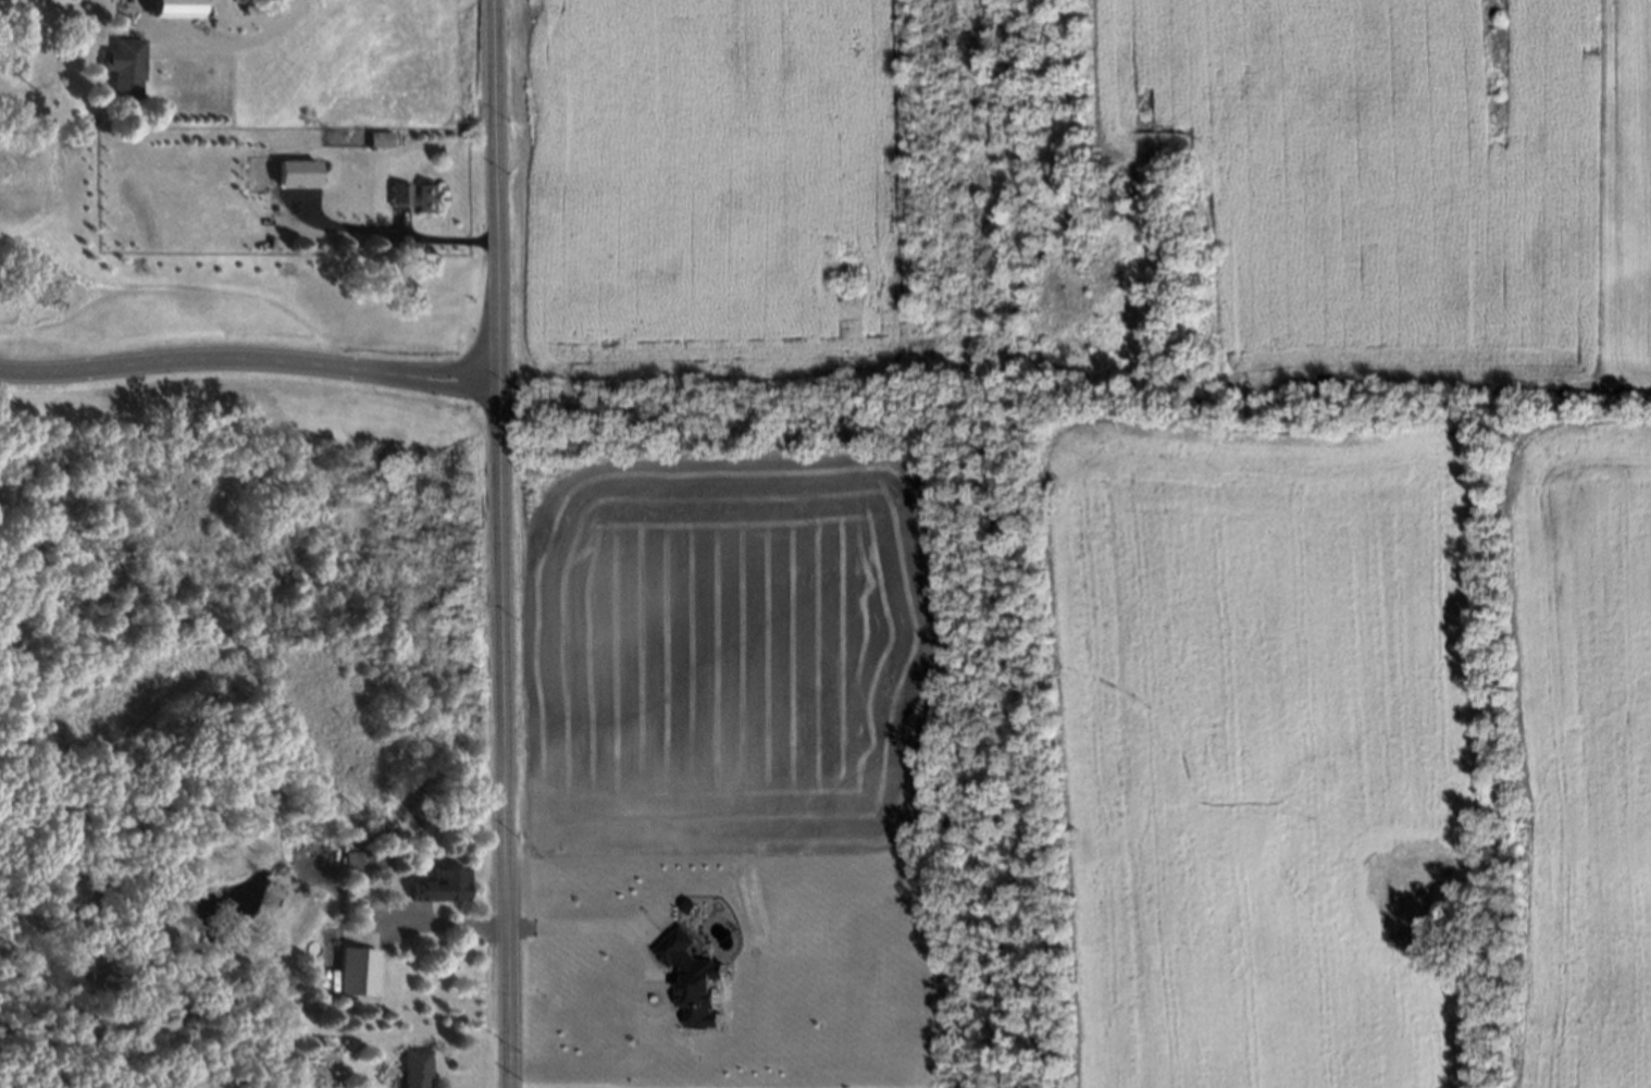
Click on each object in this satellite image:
building: (171, 7)
road: (234, 45)
building: (120, 65)
building: (374, 139)
building: (297, 168)
building: (417, 196)
road: (397, 230)
road: (248, 359)
park: (240, 521)
road: (499, 543)
road: (38, 598)
building: (364, 861)
building: (440, 885)
road: (443, 925)
road: (636, 936)
building: (339, 1038)
building: (413, 1068)
building: (266, 1087)

